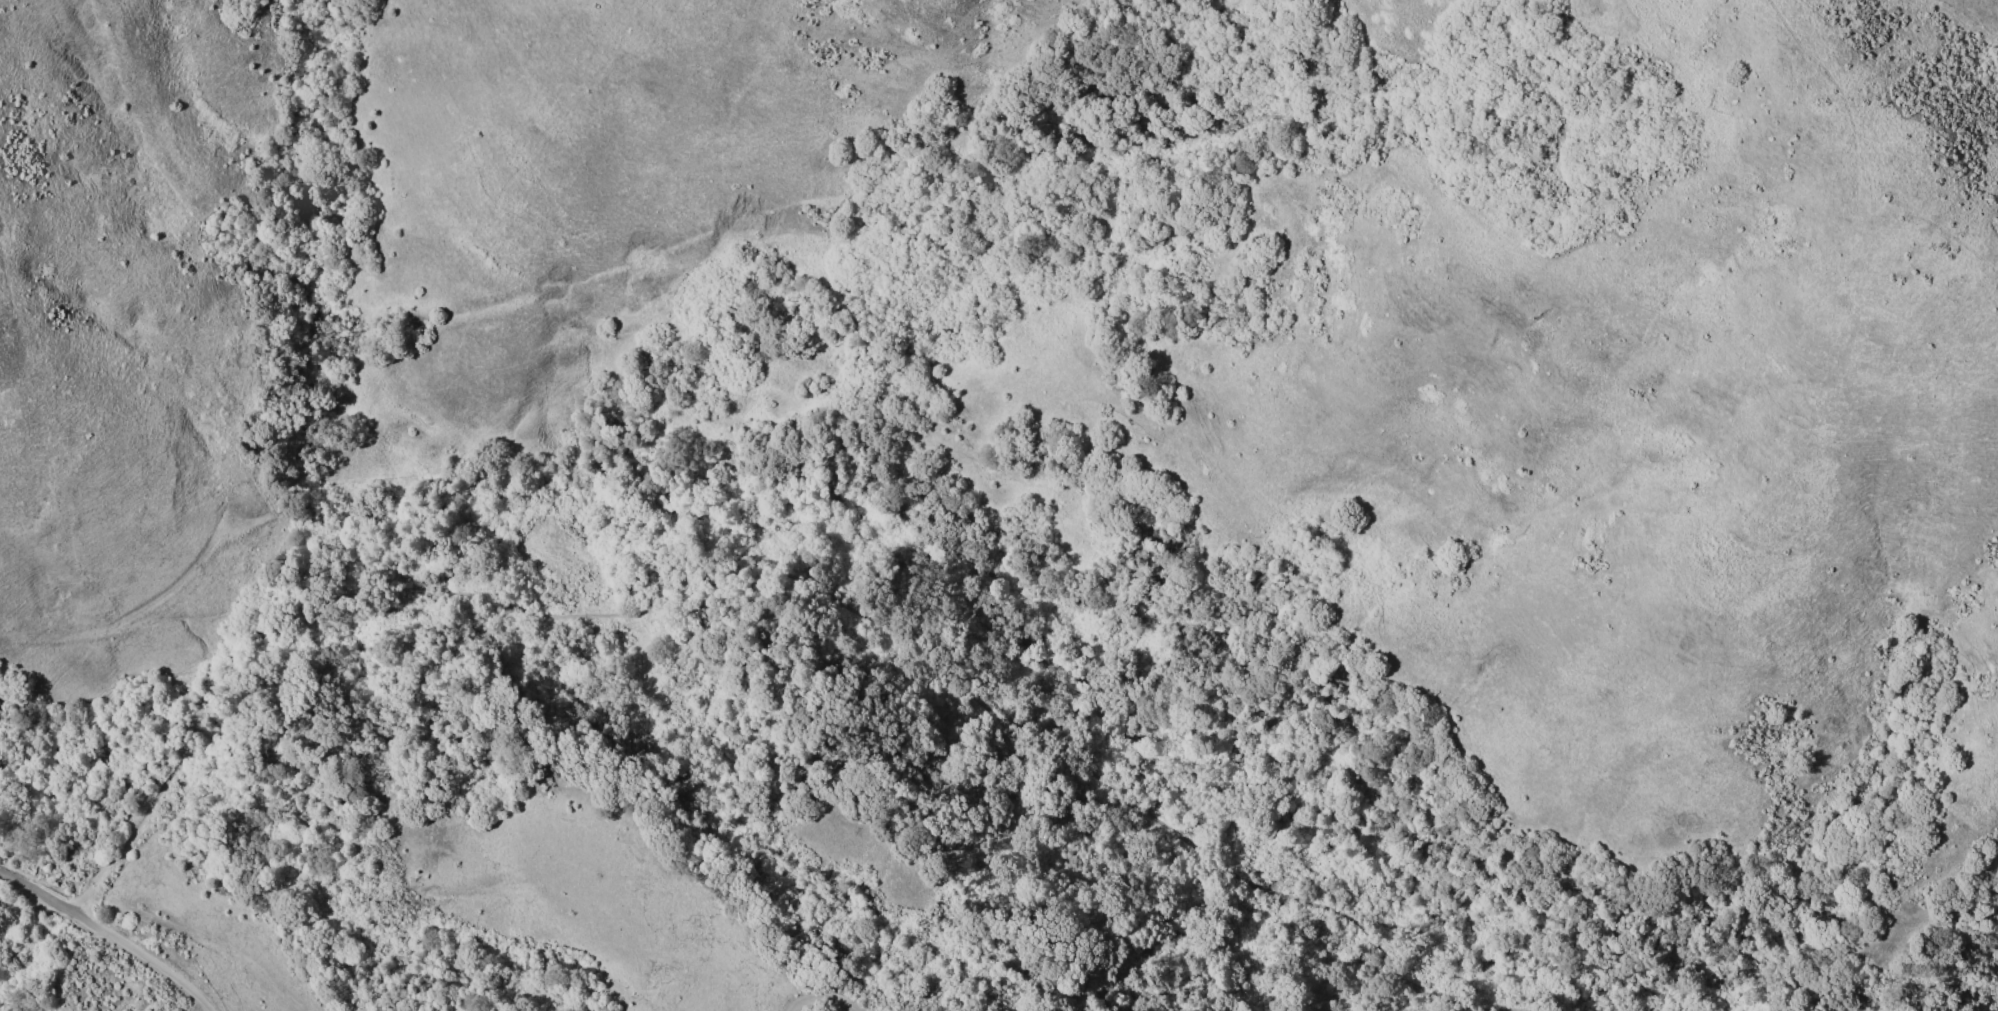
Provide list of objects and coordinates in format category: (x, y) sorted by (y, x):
road: (792, 576)
road: (34, 893)
road: (197, 938)
road: (144, 955)
road: (820, 1004)

